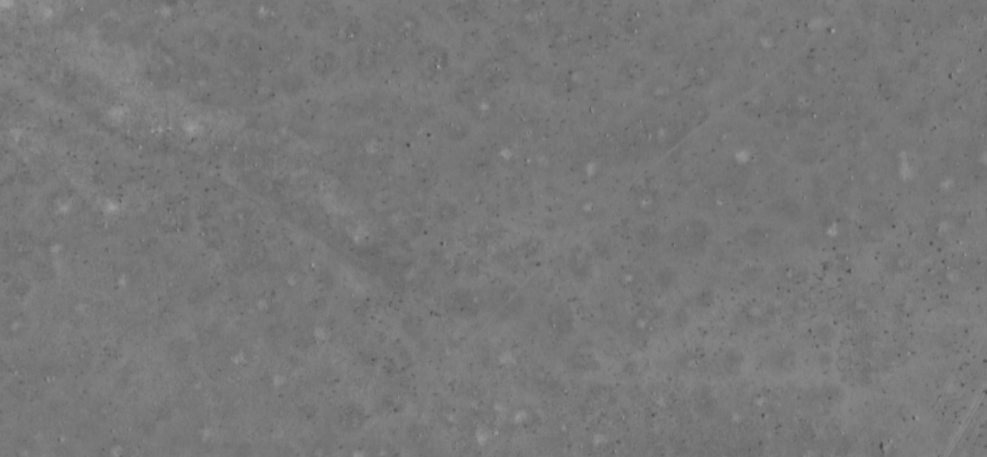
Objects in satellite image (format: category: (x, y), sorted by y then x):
road: (968, 426)

